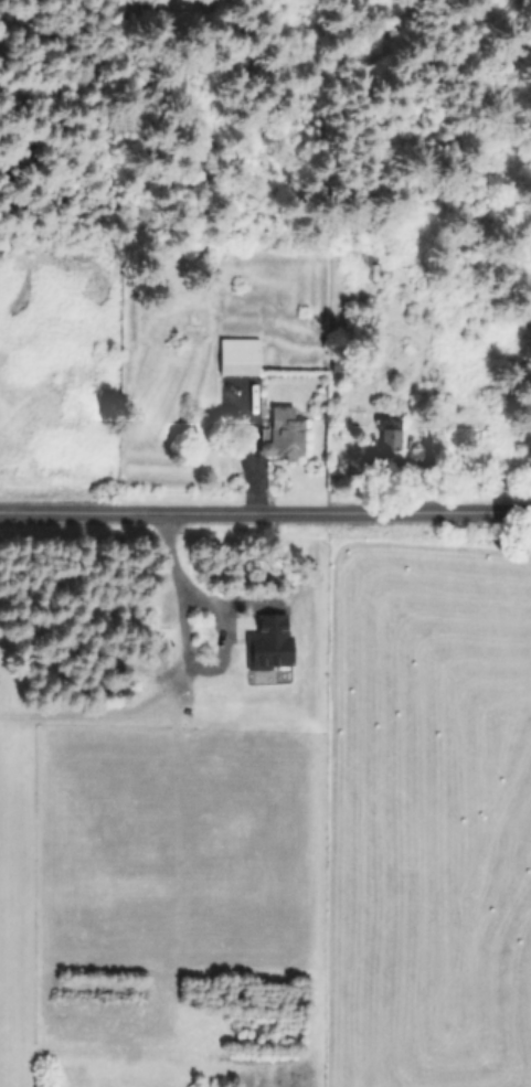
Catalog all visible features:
building: (373, 270)
building: (242, 355)
building: (286, 431)
building: (390, 433)
road: (265, 512)
building: (259, 651)
road: (187, 658)

